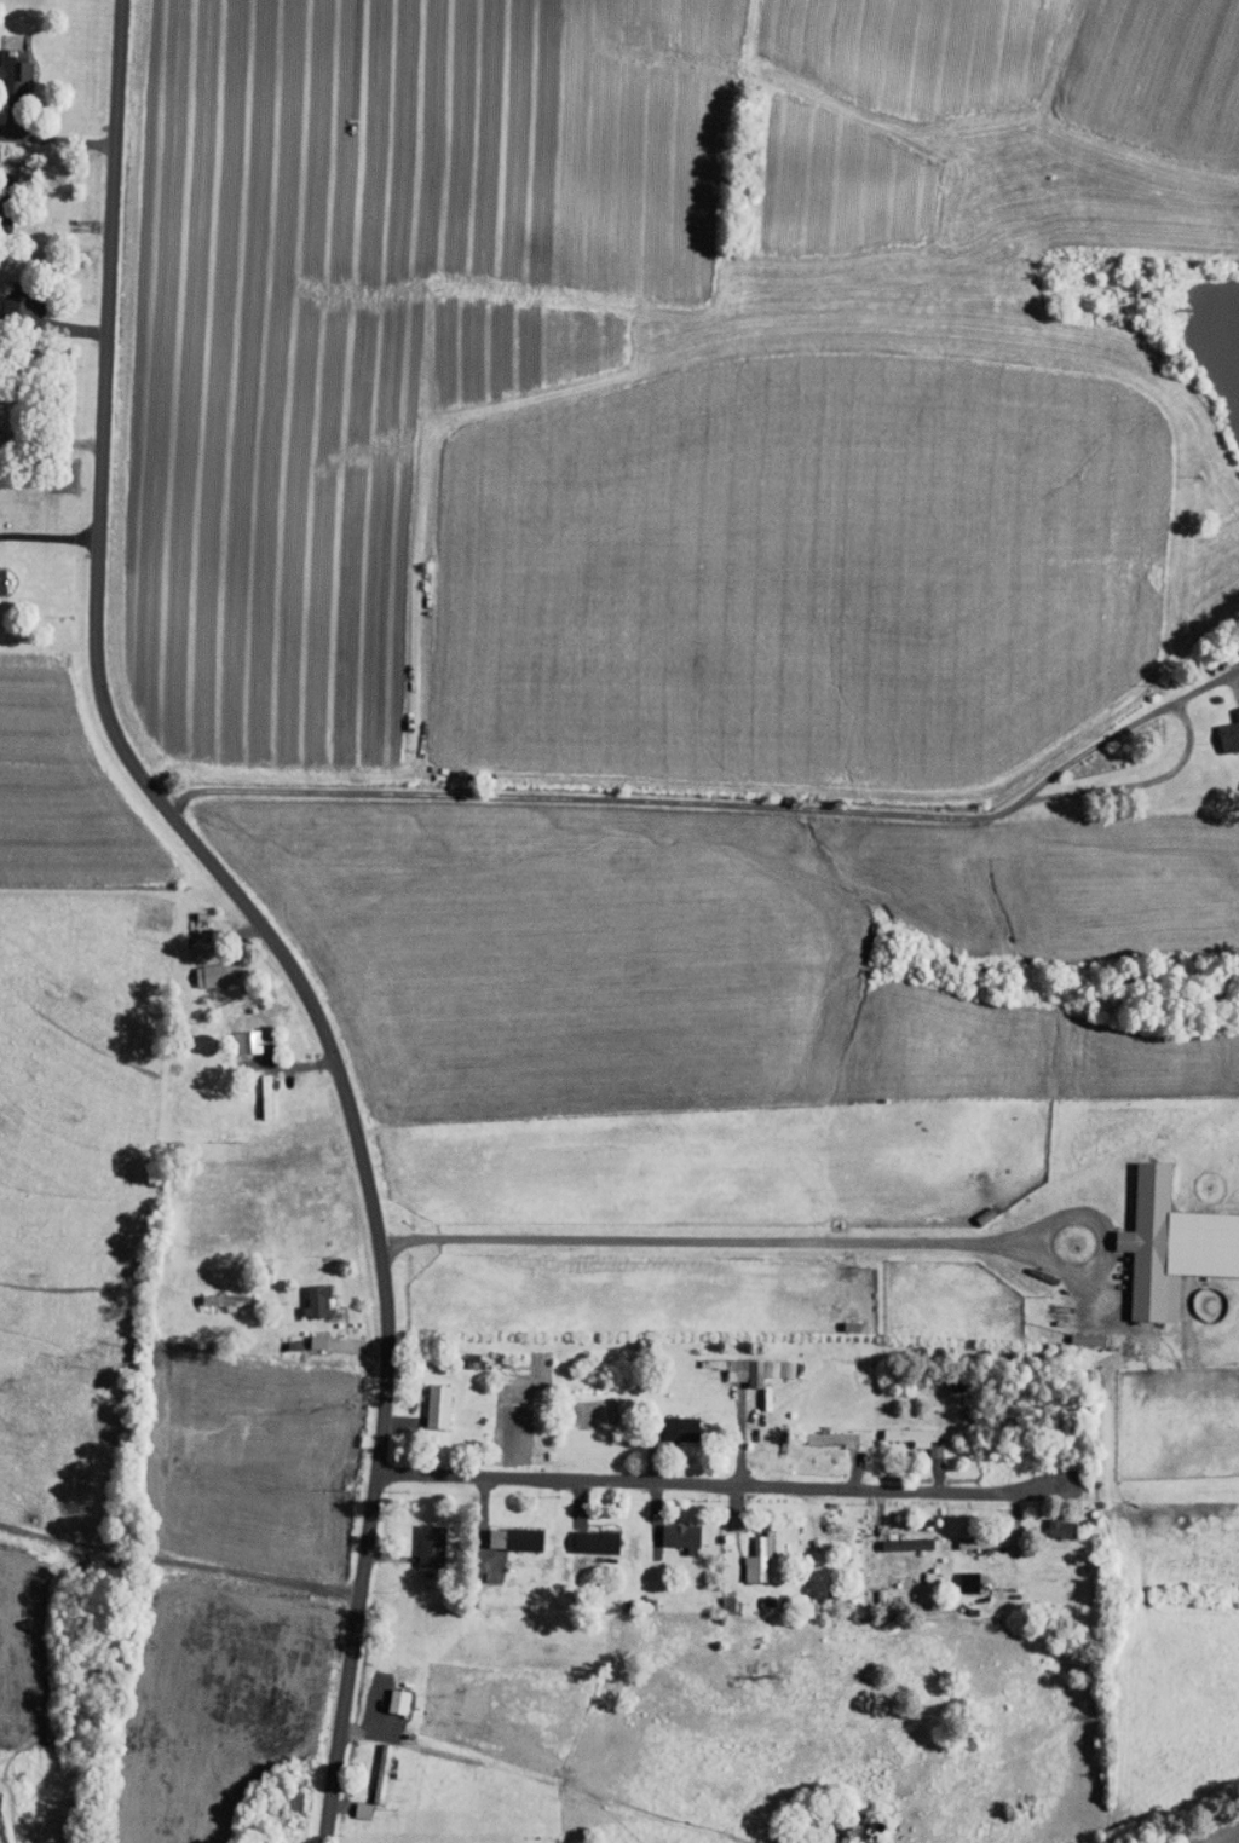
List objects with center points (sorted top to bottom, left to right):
building: (8, 65)
building: (15, 296)
road: (47, 652)
building: (1224, 724)
road: (553, 878)
road: (249, 909)
building: (1164, 1237)
building: (214, 1292)
building: (304, 1292)
building: (305, 1334)
building: (745, 1363)
building: (426, 1398)
building: (668, 1421)
building: (823, 1429)
building: (904, 1431)
road: (739, 1480)
building: (1048, 1519)
building: (669, 1529)
building: (503, 1531)
building: (583, 1533)
building: (970, 1533)
building: (895, 1536)
building: (419, 1537)
building: (744, 1552)
road: (178, 1560)
building: (956, 1573)
park: (30, 1688)
building: (386, 1693)
building: (350, 1803)

